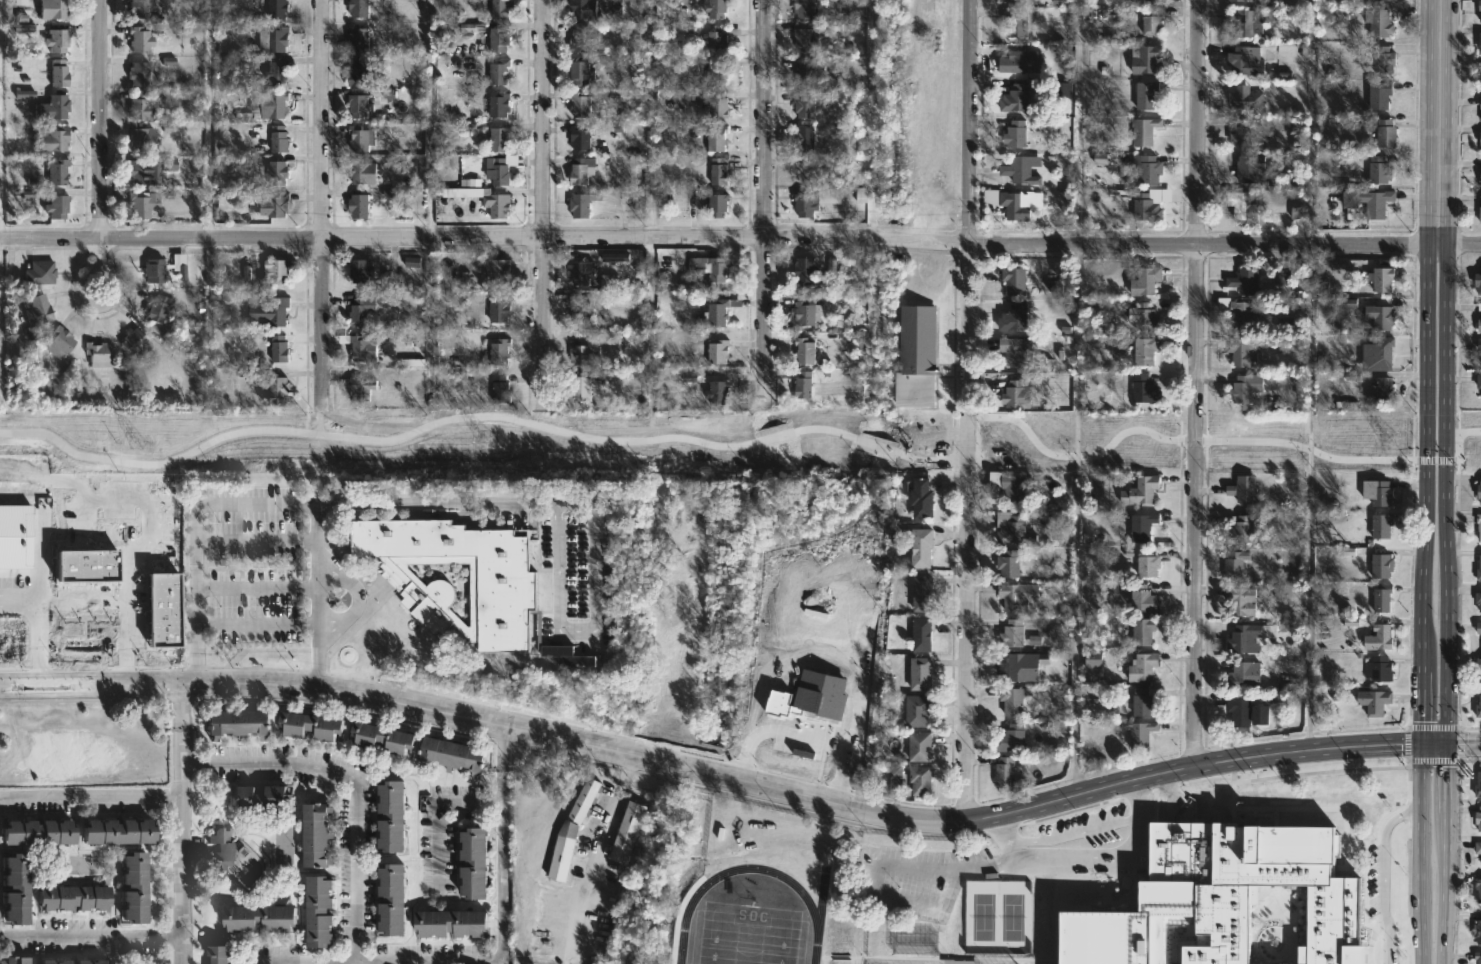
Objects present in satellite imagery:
building: (1008, 0)
building: (1153, 0)
building: (1234, 0)
building: (1387, 1)
building: (53, 8)
building: (139, 8)
building: (362, 8)
building: (581, 8)
building: (1479, 8)
building: (279, 9)
building: (499, 9)
building: (714, 9)
building: (803, 9)
building: (1375, 21)
building: (1014, 22)
building: (1150, 22)
building: (1244, 22)
building: (276, 38)
building: (141, 39)
building: (360, 39)
building: (718, 39)
building: (57, 40)
building: (500, 40)
building: (576, 40)
building: (803, 40)
building: (1143, 58)
building: (1383, 60)
building: (1243, 62)
building: (361, 71)
building: (501, 72)
building: (579, 72)
building: (803, 72)
building: (58, 73)
building: (139, 73)
building: (278, 73)
building: (716, 73)
building: (1480, 82)
building: (1148, 95)
building: (1378, 95)
building: (1241, 97)
building: (1014, 99)
building: (1480, 104)
building: (578, 105)
building: (717, 105)
building: (269, 106)
building: (361, 106)
building: (498, 106)
building: (141, 107)
building: (52, 108)
building: (802, 108)
road: (208, 118)
road: (430, 118)
road: (650, 118)
road: (1078, 121)
road: (1310, 121)
building: (1147, 130)
building: (1015, 134)
building: (1242, 134)
building: (1386, 134)
building: (578, 137)
building: (280, 138)
building: (360, 138)
building: (716, 138)
building: (54, 139)
building: (496, 139)
building: (803, 139)
building: (1480, 139)
building: (141, 140)
road: (100, 147)
building: (1149, 167)
building: (1016, 168)
building: (577, 170)
building: (1244, 170)
building: (1378, 170)
building: (137, 171)
building: (58, 172)
building: (279, 172)
building: (363, 172)
building: (495, 172)
building: (717, 172)
building: (1480, 180)
road: (763, 195)
road: (544, 199)
building: (486, 200)
road: (321, 201)
building: (1368, 202)
building: (577, 204)
building: (715, 204)
building: (146, 205)
building: (276, 205)
building: (1016, 205)
building: (1240, 205)
building: (57, 206)
building: (360, 206)
building: (804, 206)
building: (1145, 206)
building: (1480, 214)
road: (740, 236)
building: (715, 268)
building: (803, 268)
building: (153, 269)
building: (364, 269)
building: (496, 269)
building: (38, 270)
building: (279, 271)
building: (579, 271)
building: (1381, 277)
building: (1012, 279)
building: (1144, 280)
building: (1244, 280)
building: (1477, 281)
building: (1479, 306)
building: (160, 309)
building: (498, 309)
building: (37, 310)
road: (433, 310)
building: (580, 310)
building: (1236, 310)
building: (717, 311)
building: (805, 311)
building: (272, 312)
building: (360, 313)
building: (1013, 315)
building: (1142, 316)
building: (1379, 316)
building: (1480, 320)
building: (1479, 324)
building: (60, 342)
building: (135, 343)
building: (1479, 344)
building: (1381, 348)
building: (364, 349)
building: (1014, 349)
building: (280, 350)
building: (716, 350)
building: (803, 350)
building: (1144, 350)
building: (1240, 350)
building: (501, 352)
building: (582, 352)
building: (99, 354)
building: (916, 355)
building: (1480, 355)
road: (1424, 371)
road: (1443, 372)
building: (1479, 381)
road: (1195, 382)
building: (802, 385)
building: (579, 387)
building: (1242, 387)
building: (282, 388)
building: (363, 388)
building: (1140, 388)
building: (501, 389)
building: (1380, 391)
building: (719, 393)
building: (1015, 394)
road: (969, 409)
road: (463, 417)
road: (320, 418)
road: (1149, 431)
road: (1459, 435)
power tower: (991, 442)
power tower: (1395, 442)
power tower: (484, 444)
power tower: (142, 447)
road: (1437, 459)
building: (1009, 484)
building: (1139, 490)
building: (1239, 490)
building: (1377, 491)
building: (1477, 491)
building: (919, 498)
road: (286, 504)
road: (35, 518)
building: (1378, 524)
building: (9, 526)
building: (1141, 526)
building: (1478, 526)
building: (1011, 528)
building: (1237, 530)
road: (255, 540)
building: (918, 546)
building: (1145, 563)
building: (1010, 564)
building: (1234, 564)
building: (1381, 565)
building: (1478, 568)
building: (504, 584)
road: (255, 588)
building: (920, 593)
road: (316, 595)
building: (1016, 596)
road: (356, 597)
building: (1381, 597)
building: (1478, 599)
building: (1146, 600)
building: (1240, 601)
road: (255, 623)
road: (39, 627)
building: (1478, 627)
road: (593, 632)
building: (1146, 632)
building: (919, 634)
building: (1010, 634)
building: (1250, 636)
building: (1376, 639)
building: (567, 655)
building: (1141, 665)
building: (1013, 667)
building: (1378, 669)
building: (1477, 670)
building: (918, 674)
building: (1242, 674)
building: (1012, 700)
building: (1144, 701)
building: (1371, 702)
road: (181, 707)
building: (1478, 707)
building: (916, 710)
building: (1243, 713)
building: (238, 725)
road: (1434, 725)
building: (311, 727)
building: (1138, 732)
building: (387, 738)
building: (1010, 738)
road: (1408, 742)
road: (1459, 742)
traffic signals: (1420, 743)
road: (1432, 743)
traffic signals: (1445, 744)
road: (1463, 744)
building: (918, 746)
road: (498, 747)
building: (457, 755)
road: (1433, 759)
road: (712, 771)
building: (1004, 771)
building: (918, 779)
road: (353, 783)
building: (1478, 785)
road: (90, 800)
building: (258, 800)
road: (437, 814)
building: (393, 817)
building: (1478, 818)
building: (568, 831)
building: (38, 832)
building: (625, 832)
building: (121, 833)
building: (318, 835)
road: (180, 846)
building: (221, 847)
road: (599, 848)
building: (1478, 848)
road: (1417, 853)
road: (1444, 854)
building: (475, 861)
road: (499, 866)
road: (1386, 877)
building: (132, 885)
building: (14, 887)
building: (1478, 888)
building: (71, 897)
building: (393, 898)
building: (1222, 898)
building: (320, 910)
park: (980, 917)
park: (1013, 917)
building: (264, 919)
building: (452, 922)
building: (1477, 931)
park: (748, 934)
road: (90, 936)
building: (219, 953)
building: (1477, 956)
building: (14, 959)
building: (53, 962)
road: (377, 962)
road: (438, 963)

